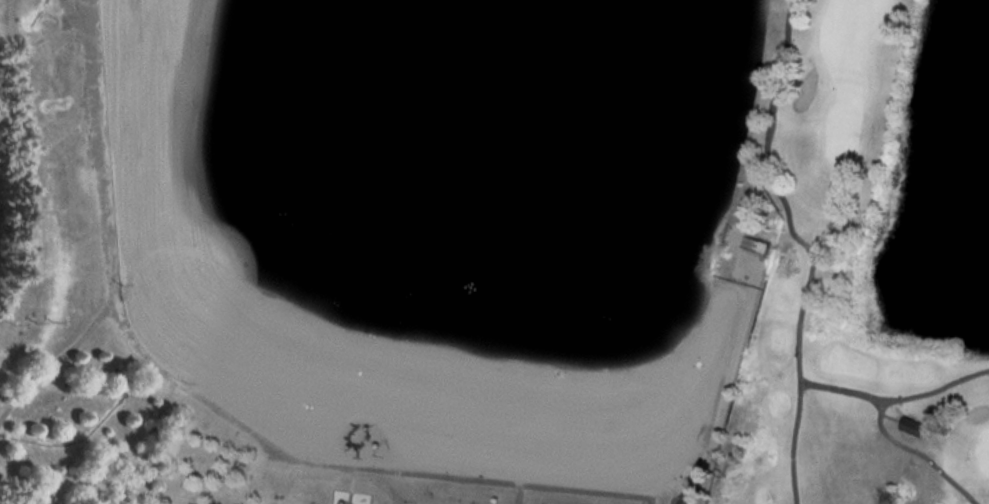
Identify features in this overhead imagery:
road: (35, 210)
road: (805, 245)
park: (868, 259)
road: (736, 345)
road: (57, 362)
road: (843, 388)
road: (219, 409)
road: (891, 416)
road: (880, 420)
building: (916, 425)
road: (895, 428)
road: (519, 493)
road: (671, 498)
road: (692, 498)
road: (680, 500)

